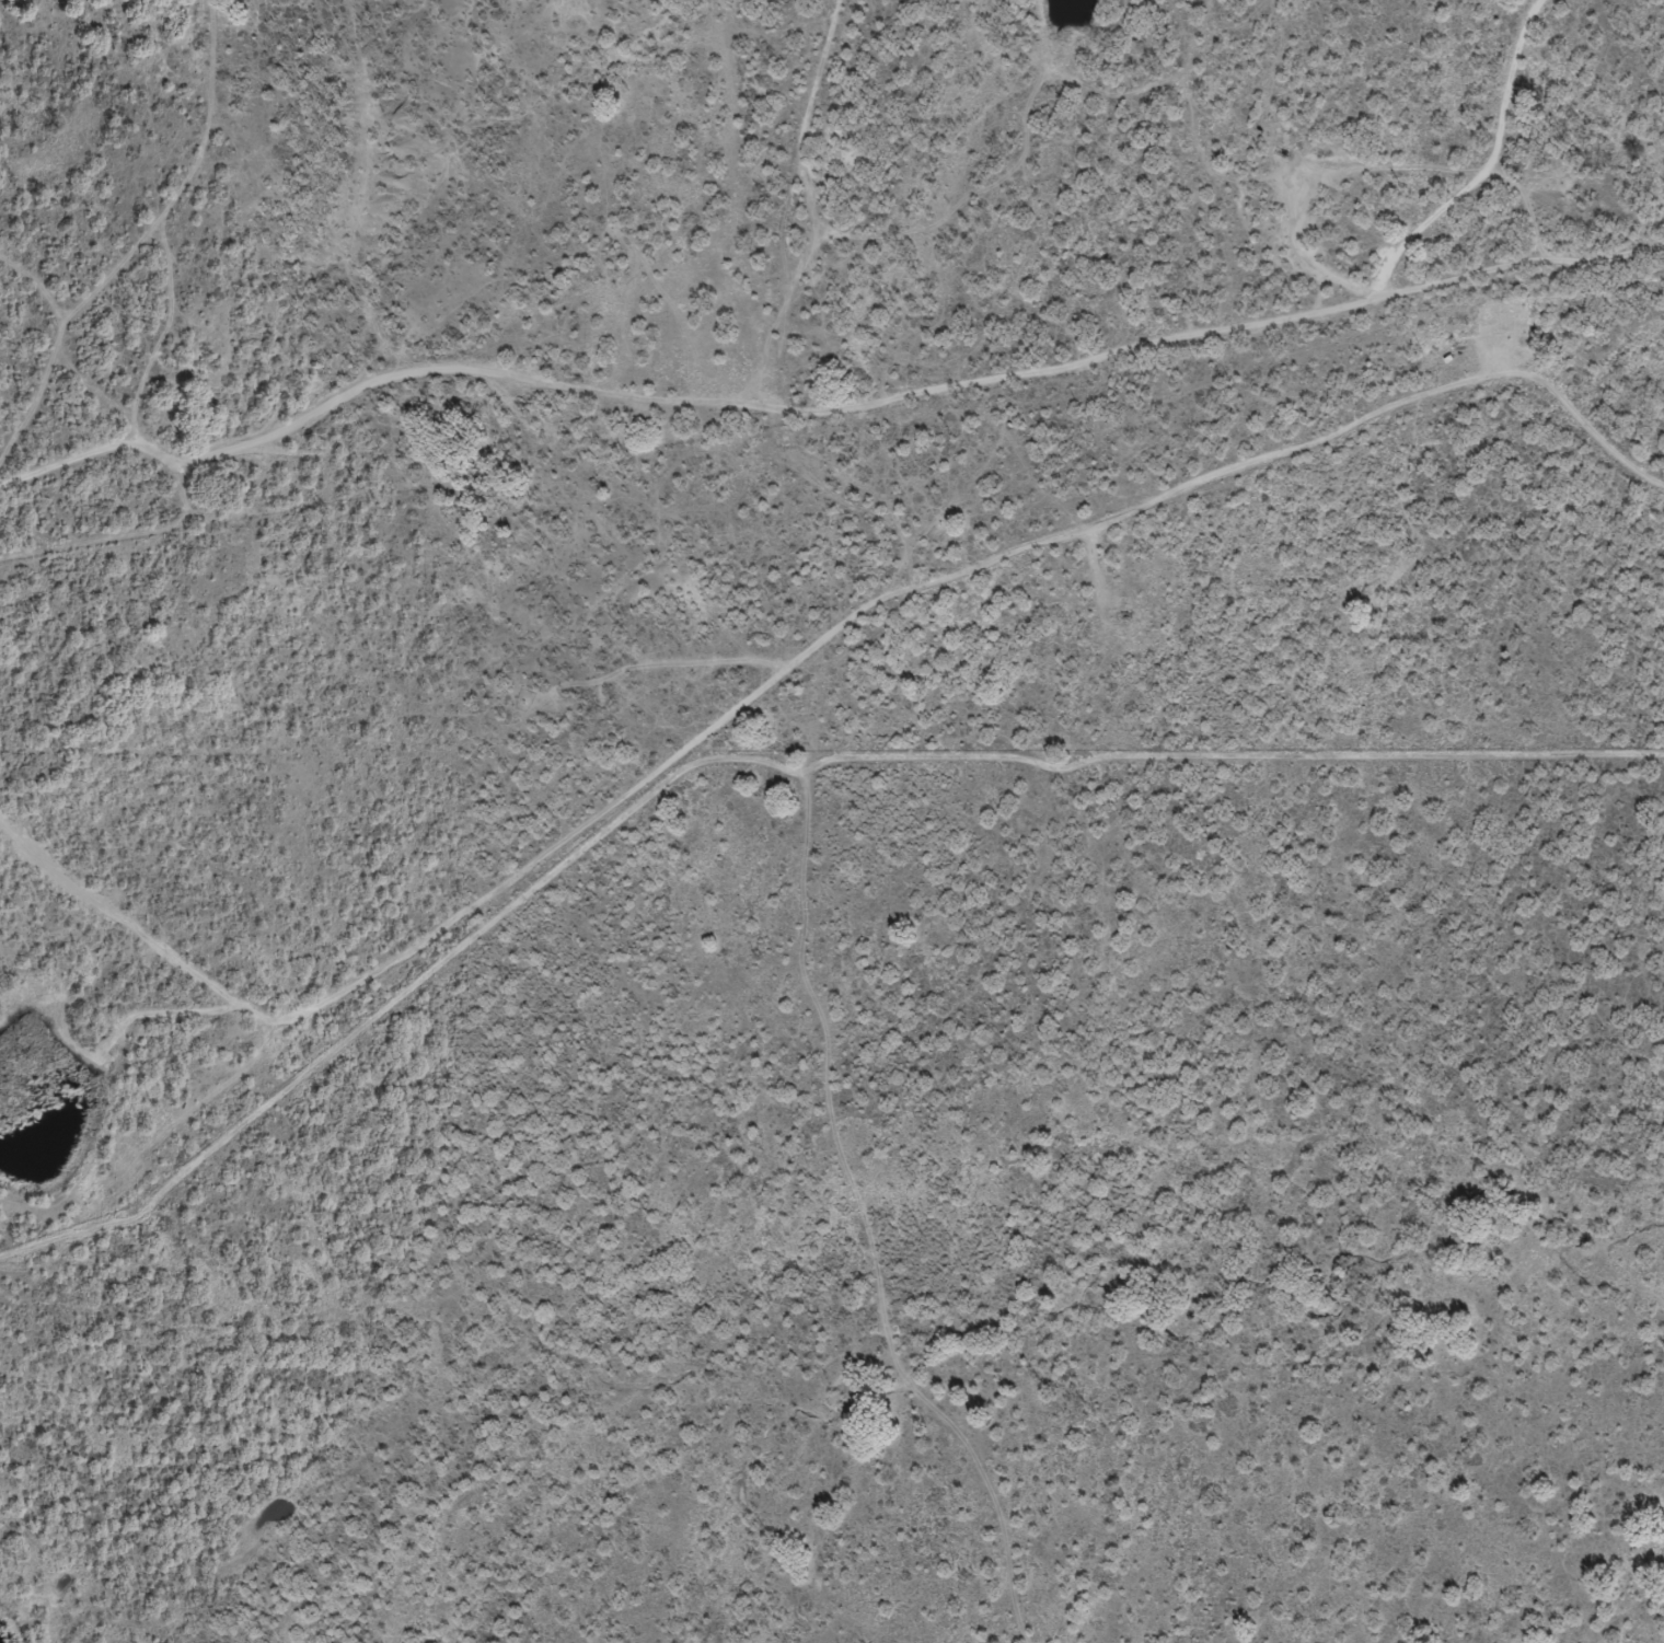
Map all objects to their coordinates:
road: (1488, 171)
road: (824, 418)

